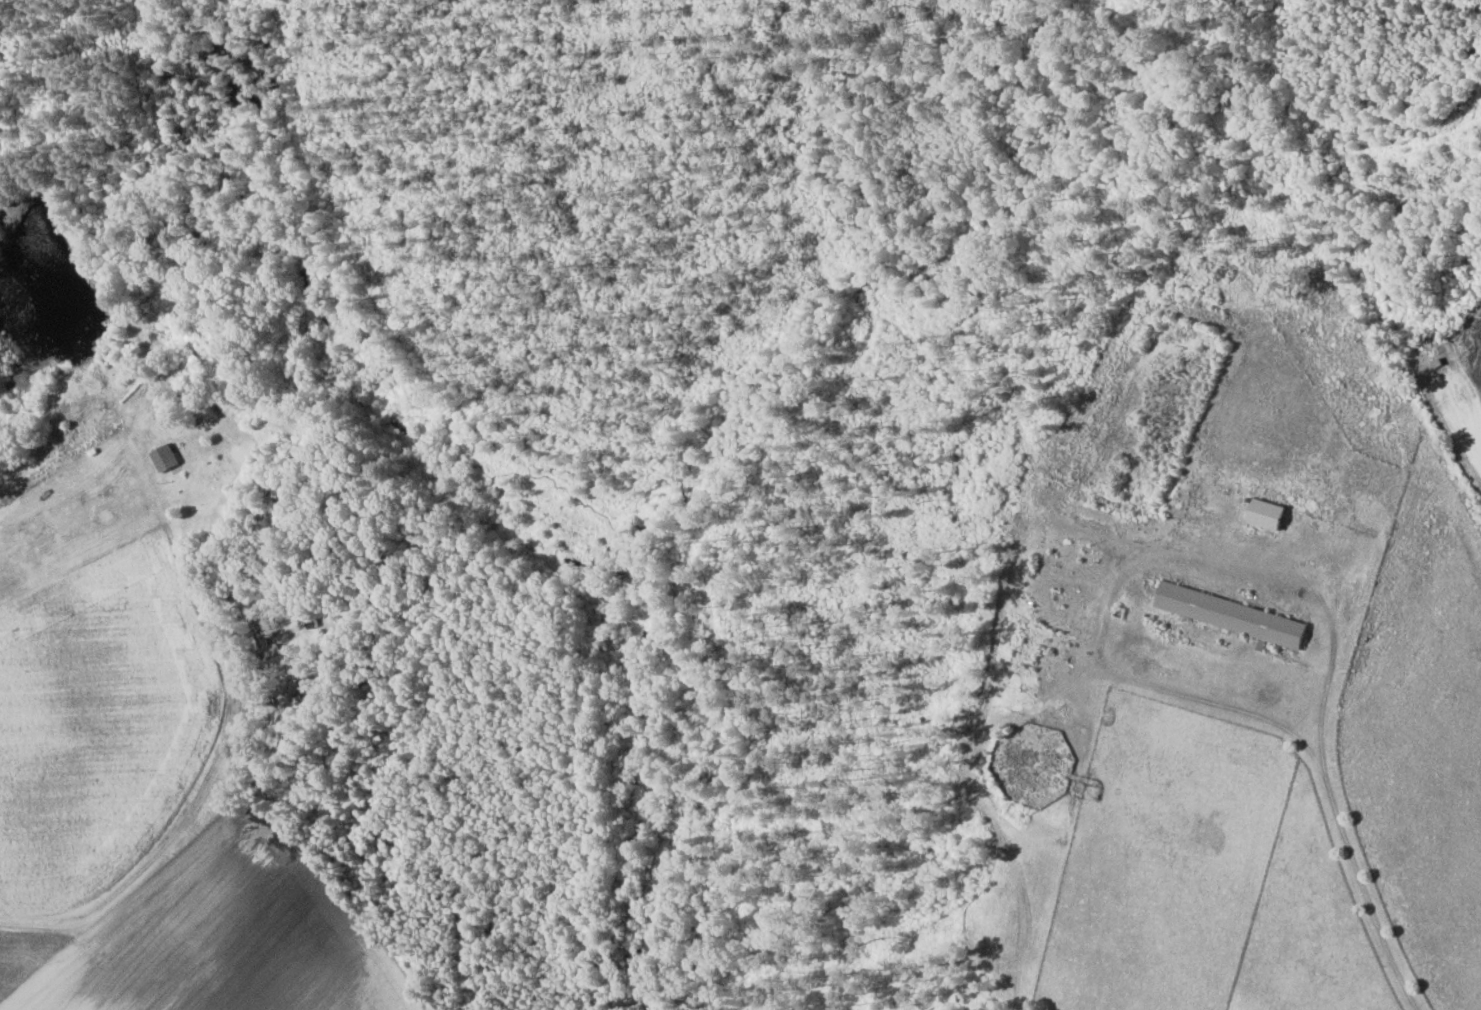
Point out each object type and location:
building: (165, 458)
building: (1268, 515)
building: (1232, 615)
building: (265, 638)

